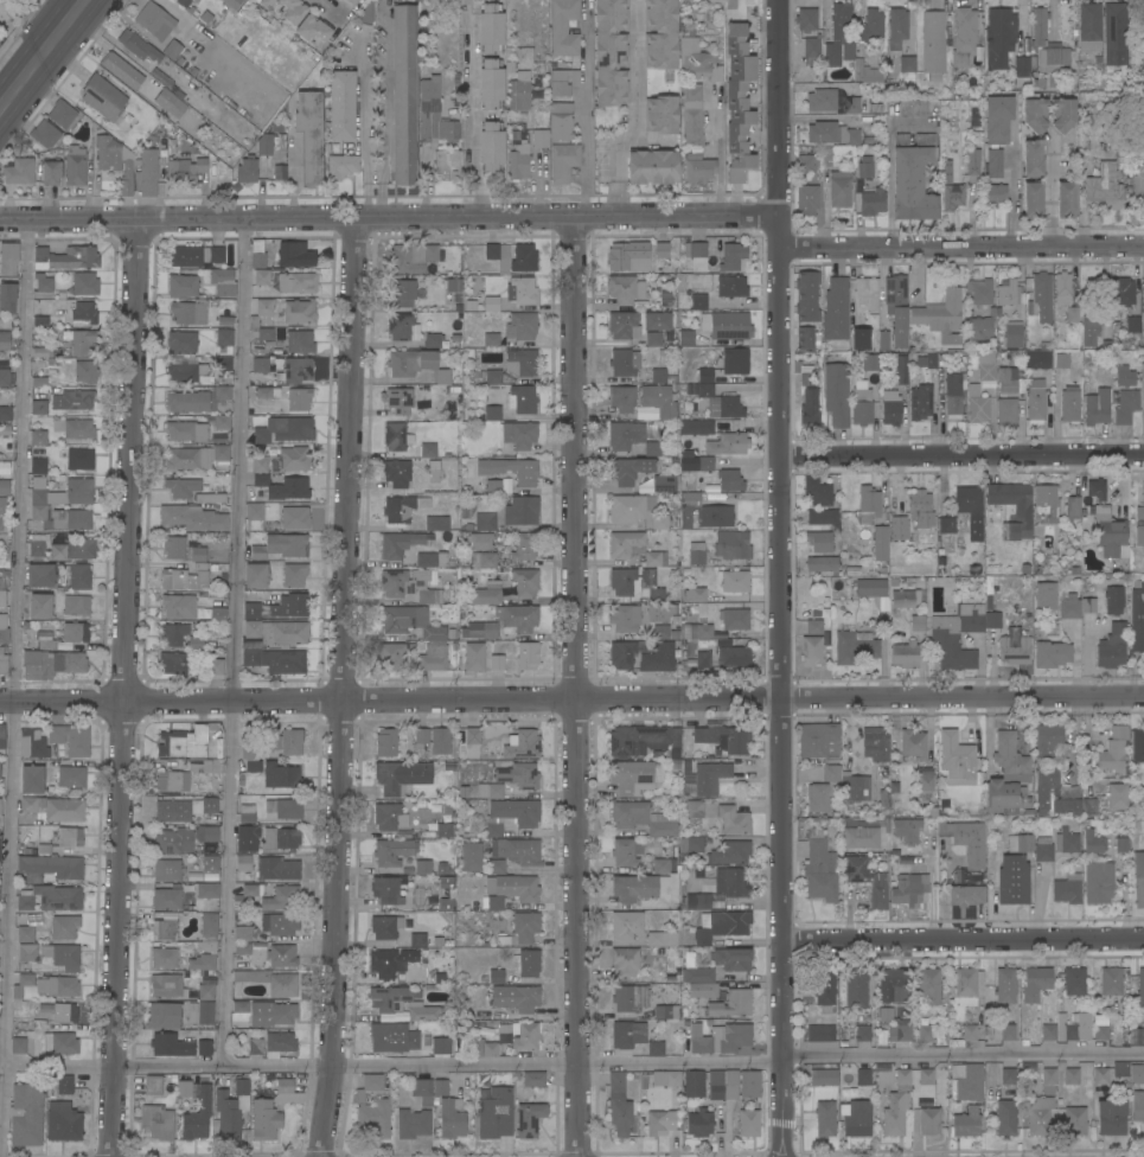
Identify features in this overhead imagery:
building: (194, 1)
building: (185, 2)
building: (266, 2)
building: (350, 2)
building: (231, 5)
building: (730, 5)
road: (331, 6)
building: (292, 11)
road: (1052, 19)
building: (806, 20)
building: (870, 25)
building: (563, 27)
building: (896, 27)
building: (1038, 27)
building: (1089, 27)
building: (491, 28)
building: (313, 30)
building: (660, 34)
building: (1116, 34)
building: (164, 36)
building: (839, 37)
building: (998, 37)
building: (963, 39)
building: (933, 44)
building: (138, 46)
building: (812, 50)
building: (611, 52)
road: (43, 56)
building: (1053, 58)
building: (907, 64)
building: (117, 66)
building: (1024, 69)
building: (867, 72)
building: (159, 76)
building: (562, 82)
building: (1048, 83)
building: (491, 84)
building: (695, 85)
building: (155, 87)
building: (519, 91)
building: (403, 95)
building: (103, 97)
building: (737, 102)
building: (831, 102)
building: (170, 103)
building: (341, 106)
road: (1, 108)
road: (778, 108)
building: (913, 108)
building: (60, 113)
building: (1034, 113)
building: (434, 114)
road: (639, 115)
building: (660, 115)
building: (1062, 115)
road: (587, 116)
road: (472, 117)
building: (998, 120)
building: (561, 121)
road: (366, 129)
building: (45, 134)
building: (832, 134)
building: (309, 135)
building: (539, 138)
building: (263, 145)
building: (491, 147)
building: (1142, 147)
road: (721, 151)
building: (1124, 154)
building: (1033, 159)
building: (115, 161)
building: (973, 161)
building: (563, 162)
building: (447, 164)
building: (518, 164)
building: (804, 164)
building: (75, 166)
building: (341, 166)
building: (652, 166)
building: (865, 167)
building: (185, 170)
building: (247, 170)
building: (699, 171)
building: (19, 172)
building: (51, 173)
building: (147, 173)
building: (913, 178)
building: (988, 181)
road: (1016, 185)
building: (838, 186)
building: (1104, 188)
building: (1138, 188)
building: (952, 198)
building: (1033, 199)
building: (1066, 199)
building: (806, 200)
building: (871, 202)
road: (389, 216)
road: (961, 245)
building: (662, 250)
building: (230, 251)
building: (496, 251)
building: (257, 254)
building: (295, 255)
building: (196, 256)
building: (628, 256)
building: (696, 256)
building: (66, 257)
building: (411, 257)
building: (731, 257)
building: (8, 258)
building: (524, 258)
building: (657, 267)
building: (43, 282)
building: (223, 282)
building: (262, 282)
building: (296, 282)
building: (84, 283)
building: (183, 286)
building: (453, 286)
building: (731, 287)
building: (1062, 288)
building: (621, 289)
building: (522, 290)
building: (640, 290)
building: (980, 292)
building: (1008, 292)
building: (1123, 292)
building: (402, 293)
building: (62, 295)
building: (665, 295)
building: (865, 295)
building: (1042, 295)
building: (806, 296)
building: (7, 298)
building: (1142, 299)
building: (692, 301)
building: (491, 303)
building: (640, 303)
building: (665, 303)
building: (471, 305)
building: (1029, 305)
building: (896, 308)
building: (452, 309)
building: (836, 309)
building: (228, 311)
building: (81, 312)
building: (299, 312)
building: (188, 313)
building: (261, 313)
building: (424, 315)
building: (941, 317)
building: (40, 320)
building: (1072, 320)
building: (225, 321)
building: (657, 321)
building: (1143, 324)
building: (1133, 325)
building: (400, 326)
building: (522, 326)
building: (624, 326)
building: (729, 326)
building: (982, 326)
building: (1116, 326)
building: (1092, 328)
building: (415, 332)
building: (266, 334)
building: (1012, 337)
building: (224, 338)
building: (686, 338)
building: (805, 338)
building: (857, 339)
building: (5, 340)
building: (79, 340)
building: (492, 340)
building: (653, 340)
building: (1143, 340)
building: (181, 341)
building: (299, 341)
building: (428, 341)
building: (883, 341)
building: (275, 344)
building: (225, 351)
building: (275, 351)
building: (41, 352)
building: (926, 360)
building: (1061, 360)
building: (50, 362)
building: (59, 362)
building: (735, 362)
building: (942, 362)
building: (1042, 362)
building: (279, 363)
building: (410, 363)
building: (522, 363)
building: (624, 363)
building: (870, 363)
building: (2, 364)
building: (260, 365)
building: (985, 365)
building: (203, 367)
building: (1143, 367)
building: (295, 370)
building: (901, 370)
building: (85, 372)
building: (183, 372)
building: (705, 376)
building: (807, 376)
building: (1124, 376)
building: (5, 377)
building: (442, 377)
building: (493, 377)
building: (223, 378)
building: (664, 378)
building: (204, 379)
building: (39, 381)
building: (53, 383)
building: (705, 391)
building: (267, 392)
building: (836, 394)
building: (953, 395)
building: (621, 398)
building: (1006, 398)
building: (72, 399)
building: (299, 399)
building: (522, 399)
building: (398, 401)
building: (659, 401)
building: (1035, 401)
building: (187, 402)
building: (920, 402)
building: (1069, 403)
building: (978, 405)
building: (730, 407)
building: (810, 407)
building: (1097, 407)
building: (1126, 407)
building: (39, 408)
building: (862, 408)
building: (890, 408)
building: (5, 414)
building: (492, 414)
building: (222, 422)
building: (57, 429)
building: (78, 429)
building: (5, 430)
building: (285, 430)
building: (186, 432)
building: (519, 434)
building: (692, 434)
building: (38, 437)
building: (219, 437)
building: (396, 437)
building: (632, 439)
building: (728, 443)
building: (428, 450)
road: (963, 453)
building: (197, 458)
building: (79, 459)
building: (282, 461)
building: (705, 464)
building: (38, 466)
building: (5, 467)
building: (628, 469)
building: (519, 471)
building: (435, 472)
building: (397, 473)
building: (730, 480)
building: (664, 484)
building: (5, 485)
building: (261, 485)
building: (493, 486)
building: (181, 487)
building: (293, 487)
building: (38, 490)
building: (1097, 490)
building: (78, 491)
building: (817, 492)
building: (1143, 494)
building: (50, 498)
building: (210, 498)
building: (870, 505)
building: (4, 506)
building: (970, 506)
building: (1052, 507)
building: (402, 509)
building: (627, 509)
building: (920, 509)
building: (522, 511)
building: (707, 511)
building: (1023, 511)
building: (254, 517)
building: (685, 517)
building: (823, 517)
building: (62, 518)
building: (192, 518)
building: (295, 518)
building: (485, 522)
building: (659, 522)
building: (677, 522)
building: (436, 524)
building: (0, 525)
building: (947, 525)
building: (900, 529)
building: (1111, 532)
building: (1139, 538)
building: (480, 541)
building: (819, 542)
building: (881, 543)
building: (398, 544)
building: (733, 545)
building: (281, 546)
building: (525, 546)
building: (70, 548)
building: (174, 548)
building: (633, 548)
building: (37, 549)
building: (696, 554)
building: (432, 560)
building: (484, 560)
building: (823, 564)
building: (5, 565)
building: (200, 565)
building: (900, 569)
building: (852, 570)
building: (1037, 570)
building: (884, 571)
building: (686, 573)
road: (781, 574)
building: (40, 575)
building: (255, 575)
building: (294, 575)
building: (79, 577)
building: (405, 582)
building: (624, 582)
building: (735, 582)
building: (894, 582)
building: (525, 583)
building: (4, 587)
building: (871, 588)
building: (485, 594)
building: (656, 595)
building: (695, 595)
building: (1046, 596)
building: (429, 597)
building: (902, 600)
building: (1114, 600)
building: (989, 601)
building: (76, 605)
building: (40, 606)
building: (178, 606)
building: (290, 606)
building: (1088, 606)
building: (1069, 607)
building: (251, 612)
building: (217, 615)
building: (517, 618)
building: (1137, 618)
building: (625, 619)
building: (734, 619)
building: (992, 620)
building: (918, 621)
building: (410, 622)
building: (813, 627)
building: (4, 629)
building: (253, 629)
building: (482, 631)
building: (75, 632)
building: (664, 632)
building: (704, 632)
building: (287, 633)
building: (452, 633)
building: (173, 634)
building: (957, 635)
building: (46, 641)
road: (235, 641)
building: (194, 644)
building: (1014, 645)
building: (855, 646)
building: (1112, 646)
building: (454, 647)
building: (644, 647)
building: (1049, 650)
building: (812, 651)
building: (622, 654)
building: (905, 654)
building: (391, 656)
building: (528, 656)
building: (250, 657)
building: (474, 657)
building: (734, 657)
building: (658, 658)
building: (433, 659)
building: (703, 659)
building: (4, 661)
building: (52, 663)
building: (173, 663)
building: (286, 663)
building: (497, 663)
building: (215, 666)
road: (344, 686)
road: (575, 686)
road: (17, 688)
road: (128, 688)
road: (571, 699)
building: (2, 736)
building: (421, 736)
building: (472, 736)
building: (637, 739)
building: (726, 739)
building: (71, 740)
building: (818, 740)
building: (440, 741)
building: (1048, 741)
building: (185, 742)
building: (288, 742)
building: (385, 742)
building: (32, 743)
building: (522, 744)
building: (877, 744)
building: (913, 744)
building: (1138, 746)
building: (218, 747)
building: (1114, 749)
building: (682, 753)
building: (957, 756)
building: (250, 758)
building: (450, 766)
building: (1070, 766)
building: (202, 767)
building: (686, 768)
building: (281, 775)
building: (519, 775)
building: (68, 776)
building: (401, 776)
building: (631, 776)
building: (1008, 776)
building: (710, 778)
building: (31, 779)
building: (171, 781)
building: (846, 781)
building: (926, 782)
building: (491, 791)
building: (1055, 793)
building: (1117, 797)
building: (817, 798)
building: (1088, 806)
building: (184, 808)
building: (283, 808)
building: (53, 810)
building: (447, 810)
building: (695, 810)
building: (247, 813)
building: (385, 816)
building: (511, 816)
building: (0, 817)
building: (210, 819)
building: (643, 819)
building: (734, 820)
building: (443, 830)
building: (906, 831)
building: (206, 833)
building: (70, 837)
building: (248, 838)
building: (861, 838)
building: (280, 839)
building: (174, 840)
building: (970, 842)
building: (1066, 842)
building: (1020, 843)
building: (1093, 843)
building: (690, 844)
building: (1121, 845)
building: (44, 849)
building: (1043, 850)
building: (392, 851)
building: (519, 851)
building: (626, 852)
building: (730, 854)
building: (471, 856)
building: (881, 856)
building: (210, 863)
building: (243, 863)
building: (818, 864)
building: (664, 865)
building: (51, 867)
building: (422, 867)
building: (497, 867)
building: (277, 868)
building: (443, 869)
building: (167, 870)
building: (408, 871)
building: (867, 880)
building: (1012, 880)
building: (1138, 880)
building: (447, 882)
building: (1099, 882)
building: (517, 888)
building: (634, 888)
building: (385, 889)
building: (1067, 889)
building: (207, 890)
building: (720, 890)
building: (908, 890)
building: (247, 895)
building: (966, 895)
building: (281, 897)
building: (60, 899)
building: (25, 900)
building: (166, 900)
building: (492, 903)
building: (446, 904)
building: (34, 919)
building: (280, 923)
building: (209, 925)
building: (626, 926)
building: (721, 926)
building: (64, 927)
building: (385, 927)
building: (411, 927)
building: (522, 928)
building: (164, 929)
building: (243, 933)
building: (25, 934)
road: (963, 934)
building: (662, 939)
building: (417, 940)
building: (439, 942)
building: (242, 948)
building: (27, 953)
building: (281, 955)
building: (62, 958)
building: (731, 959)
building: (180, 960)
building: (625, 960)
building: (394, 961)
building: (526, 964)
building: (692, 970)
building: (496, 977)
building: (669, 977)
building: (440, 978)
building: (207, 980)
building: (269, 982)
building: (1074, 982)
building: (1111, 982)
building: (967, 983)
building: (1035, 984)
building: (23, 985)
building: (166, 985)
building: (929, 985)
building: (1005, 985)
building: (58, 986)
building: (824, 986)
building: (891, 986)
building: (856, 989)
building: (237, 990)
building: (703, 990)
building: (1140, 990)
building: (205, 992)
building: (516, 998)
building: (629, 998)
building: (390, 999)
building: (731, 1004)
building: (239, 1008)
building: (65, 1012)
building: (200, 1012)
building: (667, 1012)
building: (271, 1014)
building: (430, 1014)
building: (884, 1014)
building: (164, 1016)
building: (1101, 1018)
building: (39, 1024)
building: (465, 1028)
building: (1075, 1029)
building: (899, 1030)
building: (990, 1030)
building: (1143, 1030)
building: (1101, 1031)
building: (925, 1033)
building: (1008, 1033)
building: (1048, 1033)
building: (627, 1034)
building: (820, 1034)
building: (863, 1034)
building: (526, 1036)
building: (963, 1036)
building: (392, 1038)
building: (720, 1038)
building: (1024, 1041)
building: (280, 1042)
building: (60, 1043)
building: (178, 1044)
building: (440, 1044)
building: (18, 1046)
road: (782, 1046)
building: (255, 1047)
building: (485, 1049)
building: (656, 1049)
road: (961, 1053)
building: (273, 1055)
road: (394, 1068)
building: (1120, 1069)
building: (1069, 1074)
building: (1137, 1074)
building: (1100, 1075)
building: (1008, 1076)
building: (1049, 1076)
building: (644, 1078)
building: (824, 1078)
building: (926, 1078)
building: (533, 1079)
building: (665, 1079)
building: (846, 1079)
building: (902, 1079)
building: (863, 1081)
building: (966, 1082)
building: (64, 1085)
building: (153, 1085)
building: (694, 1085)
building: (716, 1085)
building: (730, 1085)
building: (750, 1085)
building: (641, 1086)
building: (241, 1087)
building: (441, 1087)
building: (52, 1088)
building: (184, 1088)
building: (287, 1091)
building: (423, 1092)
building: (665, 1102)
building: (928, 1102)
building: (619, 1105)
building: (373, 1106)
building: (1138, 1107)
building: (26, 1114)
building: (496, 1114)
building: (895, 1114)
building: (529, 1116)
building: (1038, 1116)
building: (197, 1117)
building: (226, 1117)
building: (452, 1118)
building: (825, 1118)
building: (856, 1118)
building: (1005, 1118)
building: (1111, 1118)
building: (264, 1119)
building: (63, 1121)
building: (1075, 1121)
building: (155, 1123)
building: (749, 1123)
building: (929, 1123)
building: (966, 1123)
building: (413, 1124)
building: (654, 1124)
building: (699, 1124)

